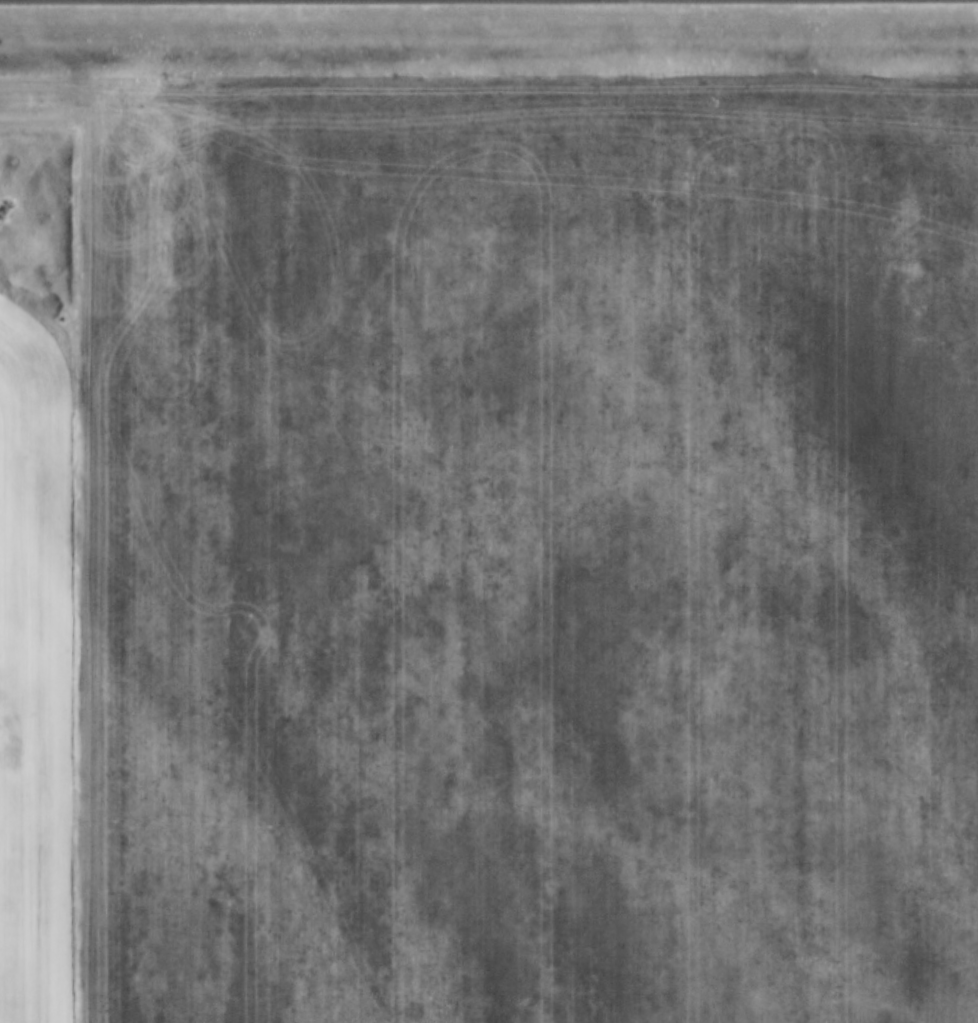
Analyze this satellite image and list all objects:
road: (32, 173)

